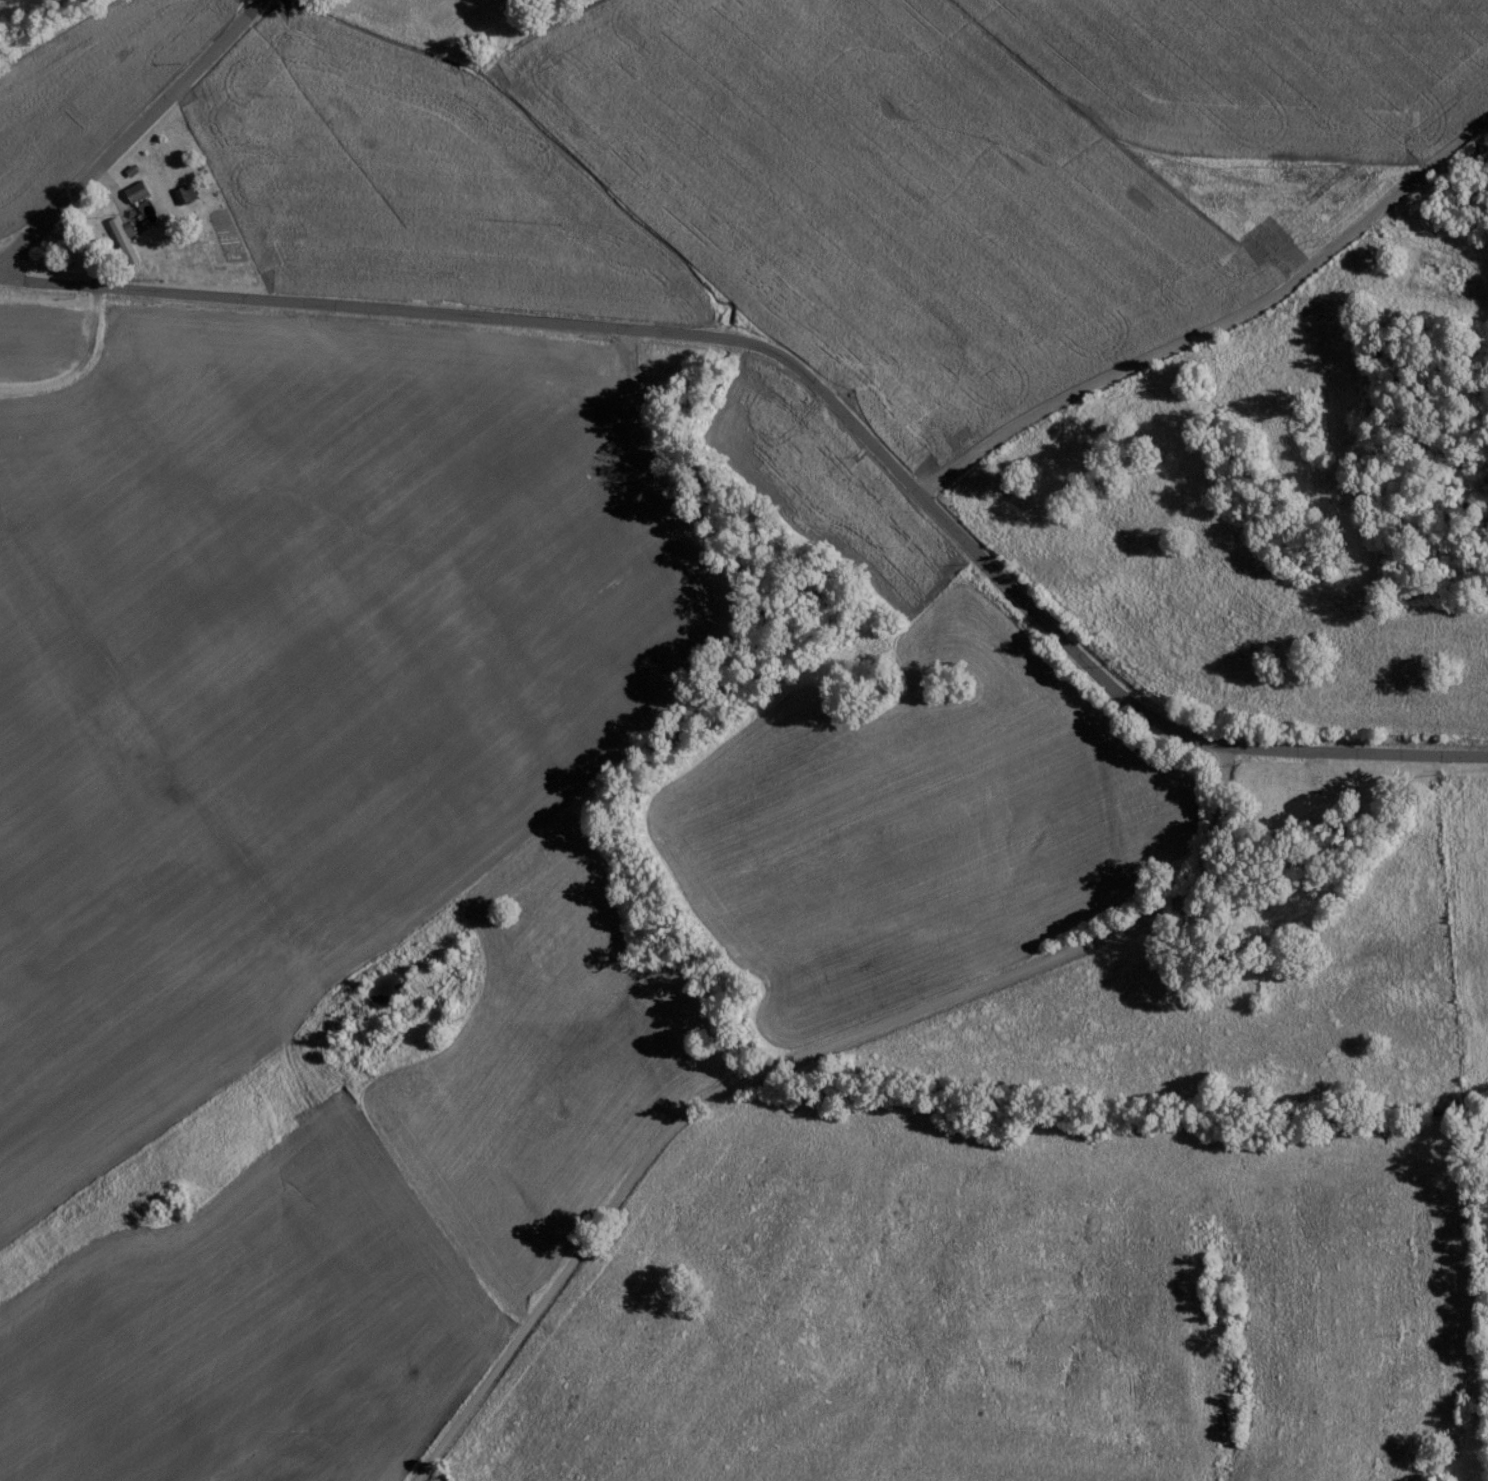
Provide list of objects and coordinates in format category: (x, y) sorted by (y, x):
road: (133, 136)
building: (140, 192)
building: (188, 194)
building: (128, 239)
road: (1466, 310)
road: (1217, 325)
road: (809, 377)
park: (1325, 798)
road: (799, 1057)

